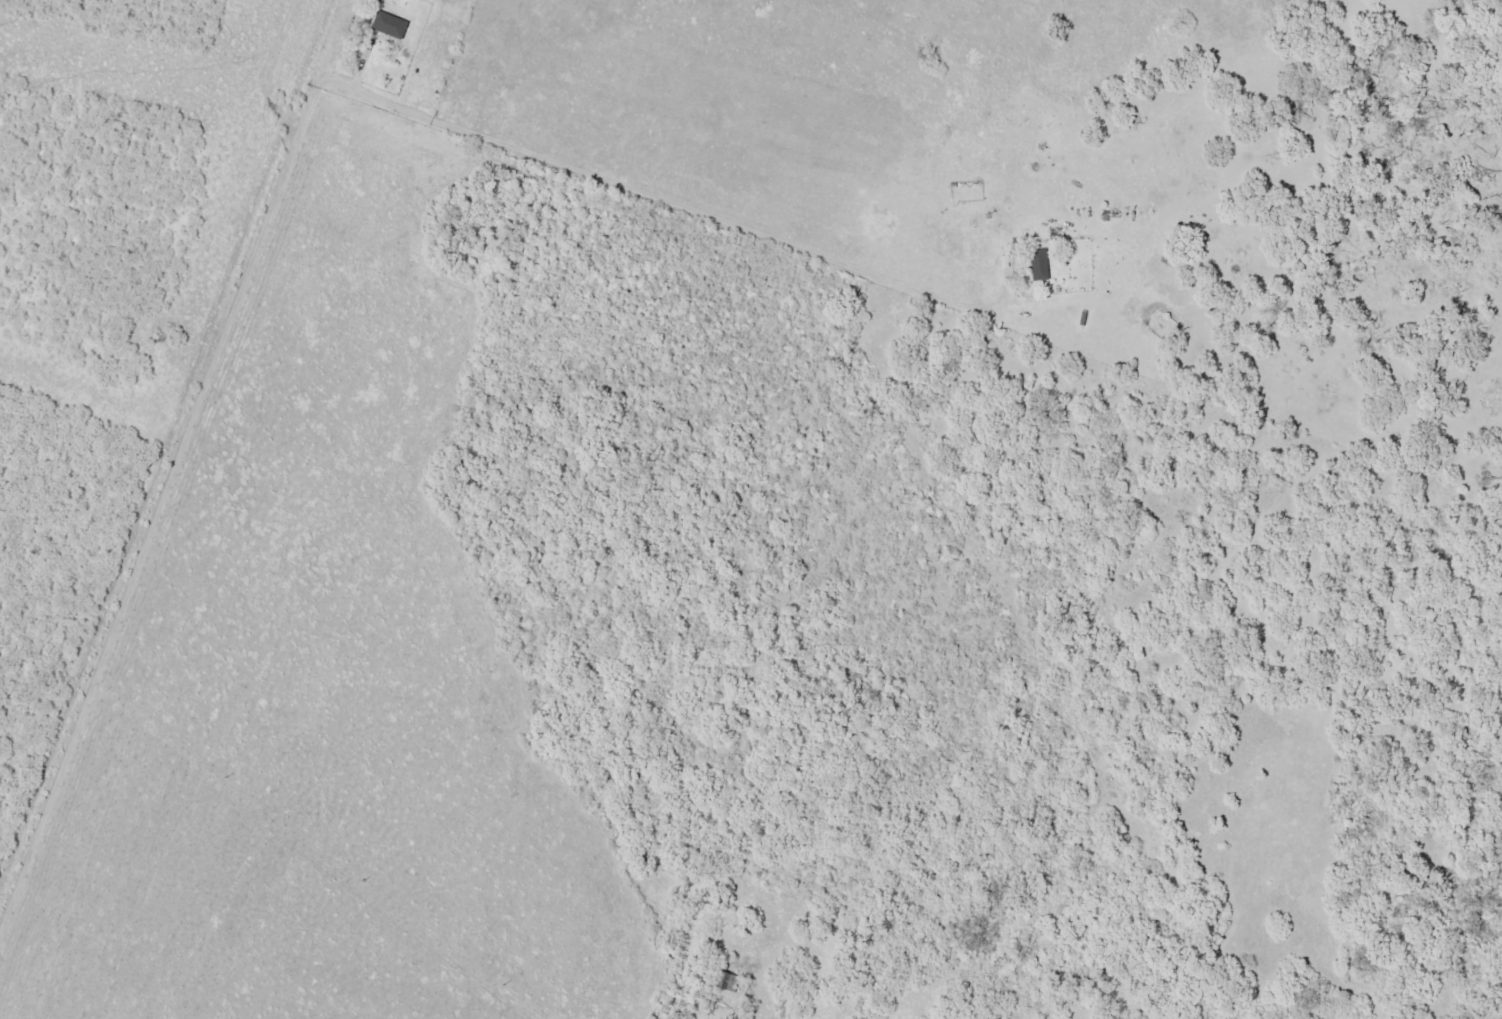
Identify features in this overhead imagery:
building: (388, 24)
road: (449, 122)
building: (1038, 264)

